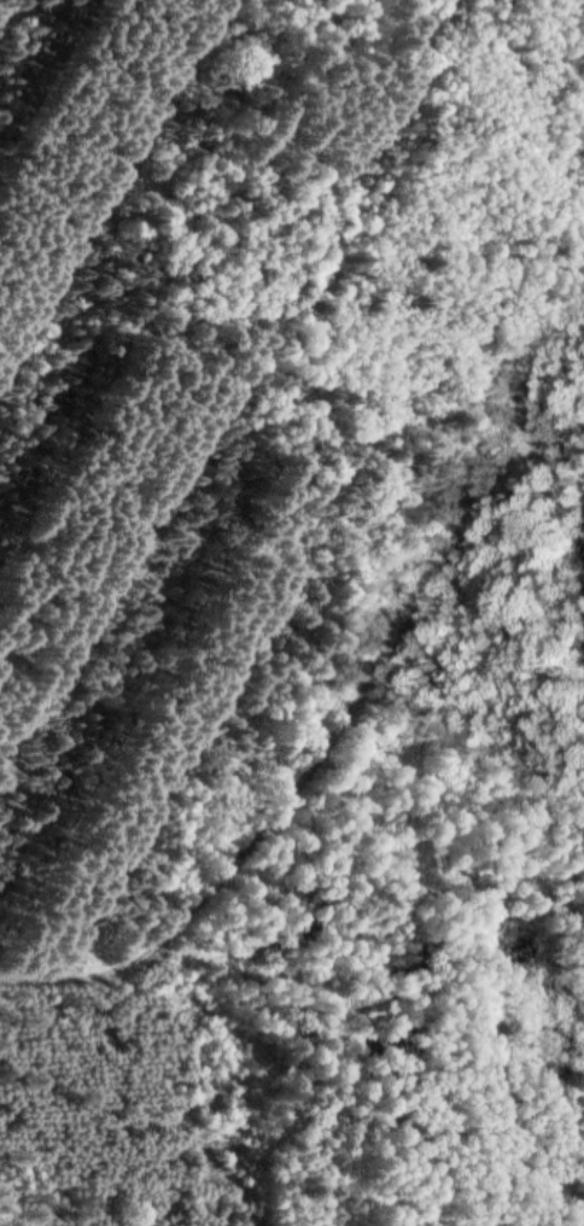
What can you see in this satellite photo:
road: (319, 758)

